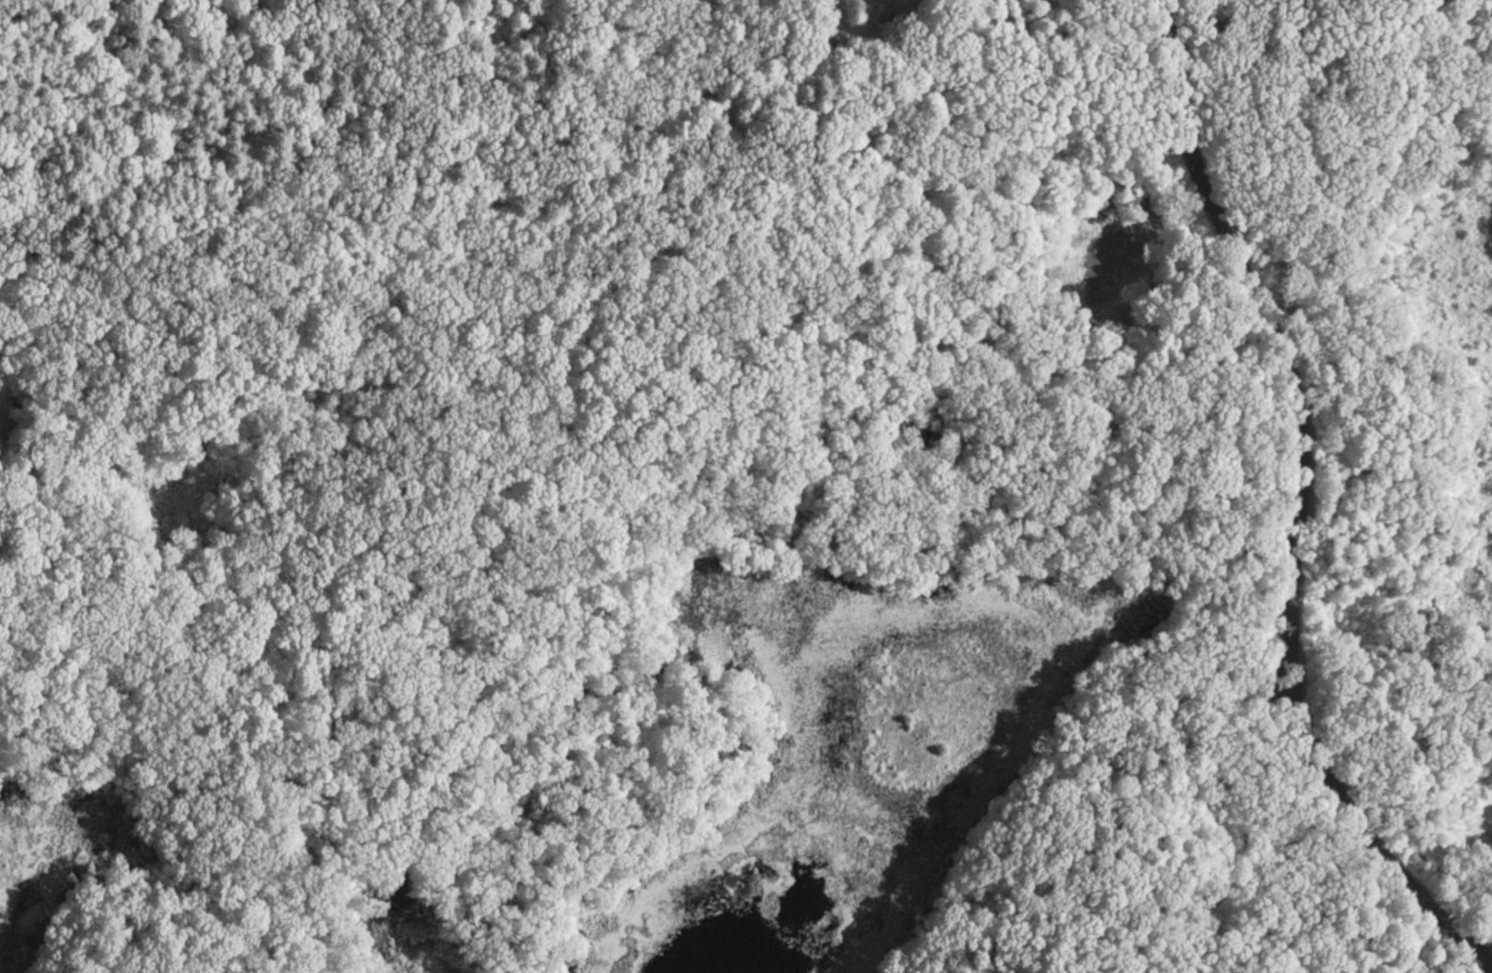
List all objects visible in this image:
road: (1328, 124)
road: (1245, 213)
road: (1254, 314)
road: (1418, 362)
road: (1094, 436)
road: (760, 458)
park: (746, 486)
road: (376, 598)
toll booth: (1286, 637)
road: (1190, 638)
parking lot: (1254, 702)
road: (245, 759)
road: (1354, 820)

